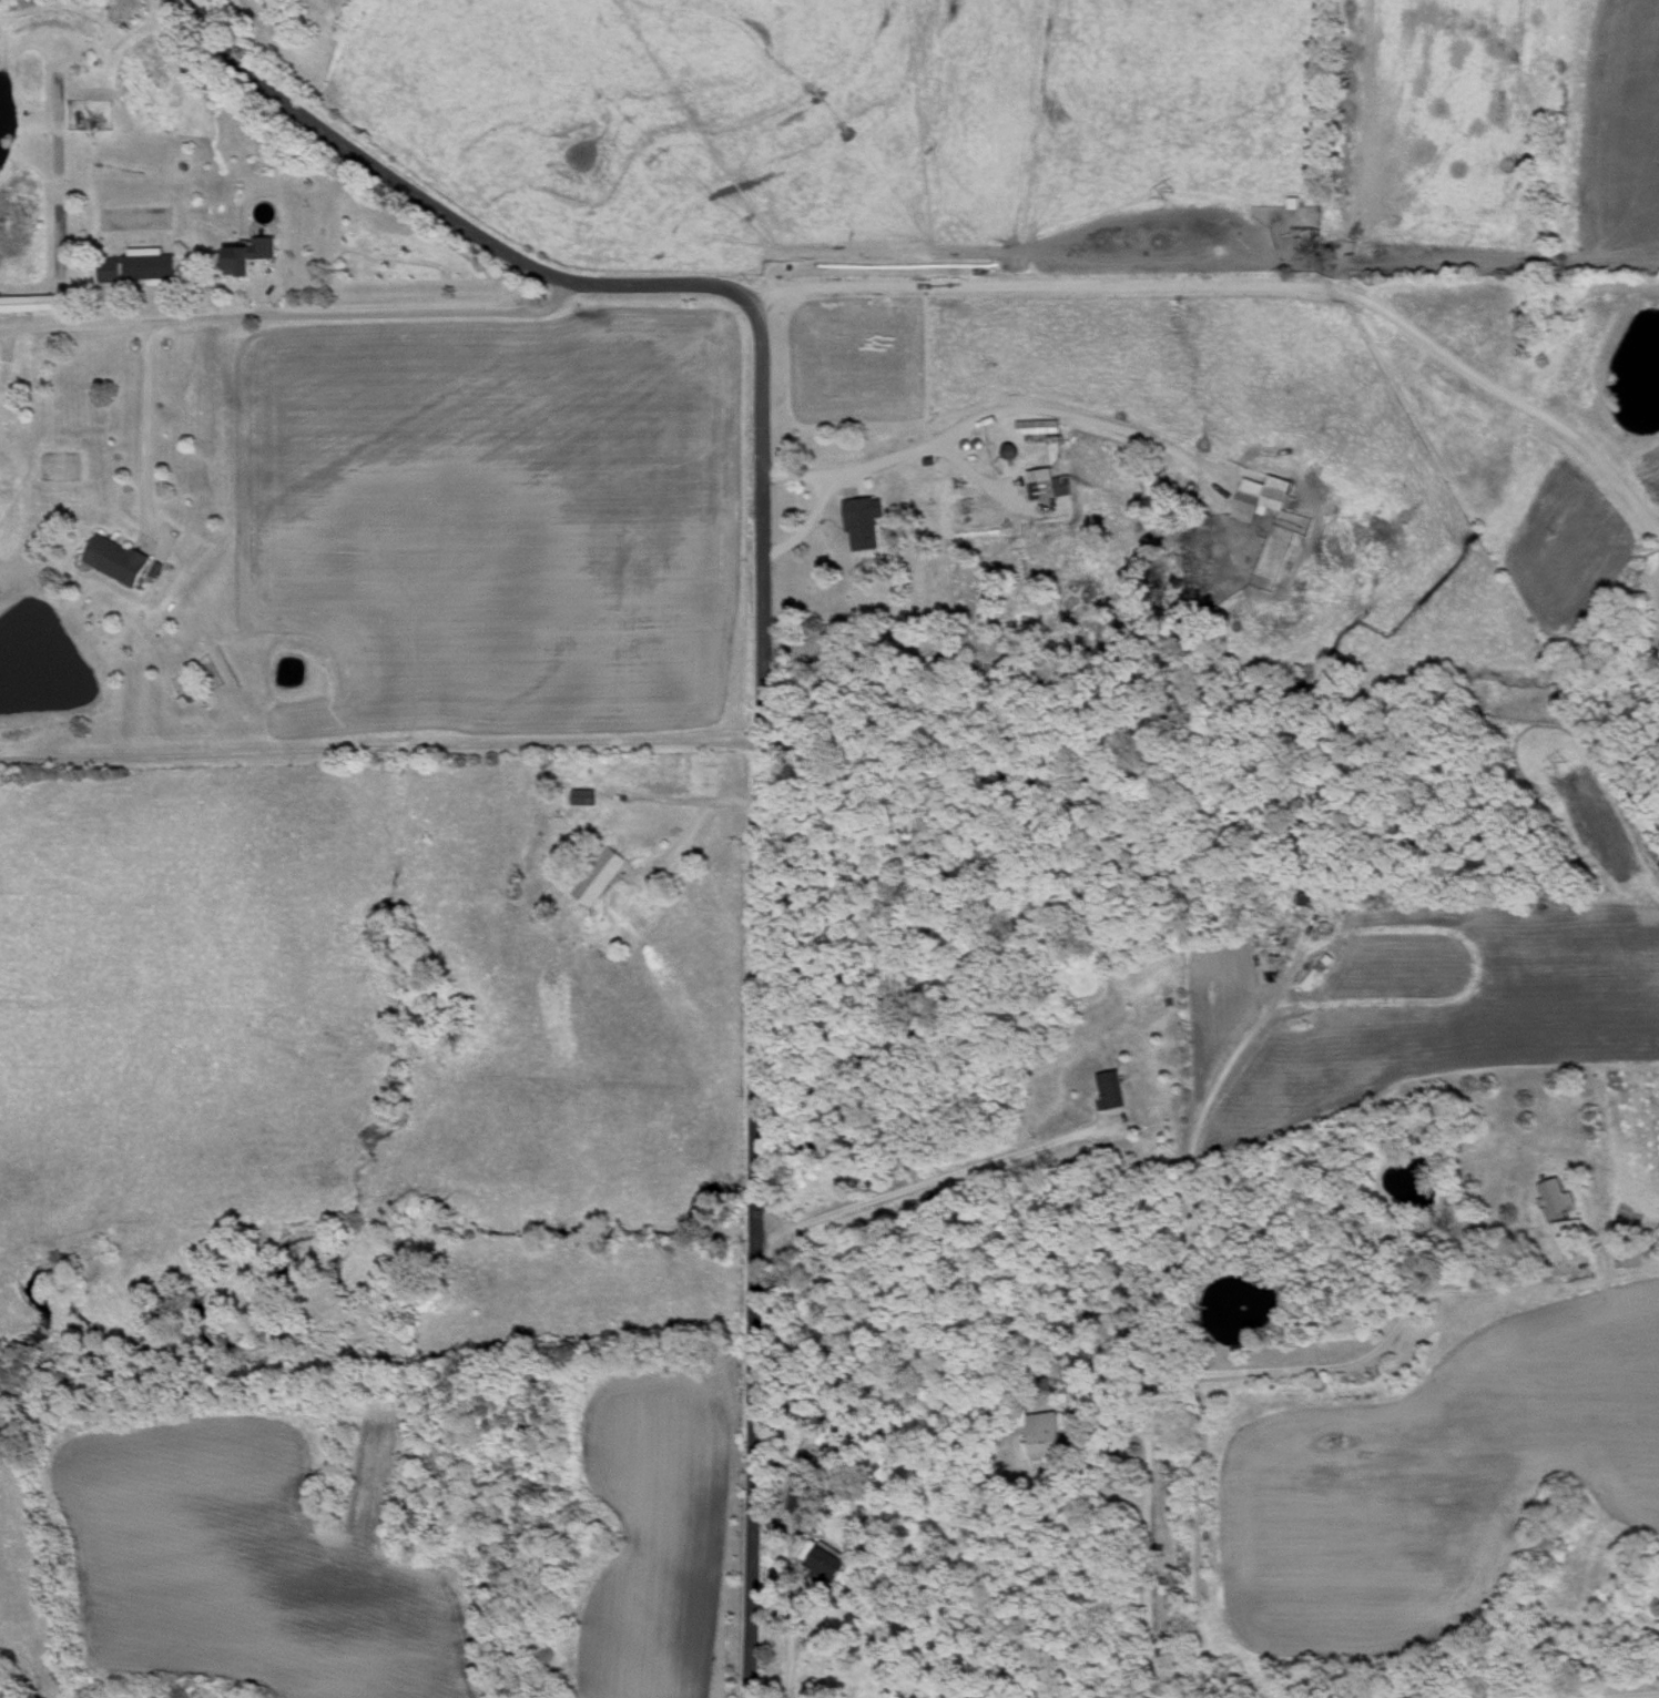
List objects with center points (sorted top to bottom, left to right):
building: (246, 252)
building: (136, 264)
road: (1244, 282)
building: (51, 301)
road: (289, 316)
road: (989, 413)
building: (1035, 425)
road: (145, 431)
road: (973, 475)
building: (1045, 482)
building: (1258, 496)
building: (861, 520)
road: (805, 525)
building: (114, 557)
road: (760, 665)
road: (378, 745)
building: (580, 794)
road: (654, 797)
road: (689, 832)
building: (554, 853)
building: (597, 874)
building: (1108, 1087)
road: (1189, 1150)
building: (1468, 1155)
road: (922, 1181)
building: (1554, 1192)
building: (1566, 1232)
road: (1543, 1267)
road: (1185, 1373)
building: (806, 1420)
building: (1041, 1433)
building: (823, 1560)
road: (792, 1623)
road: (1621, 1695)

